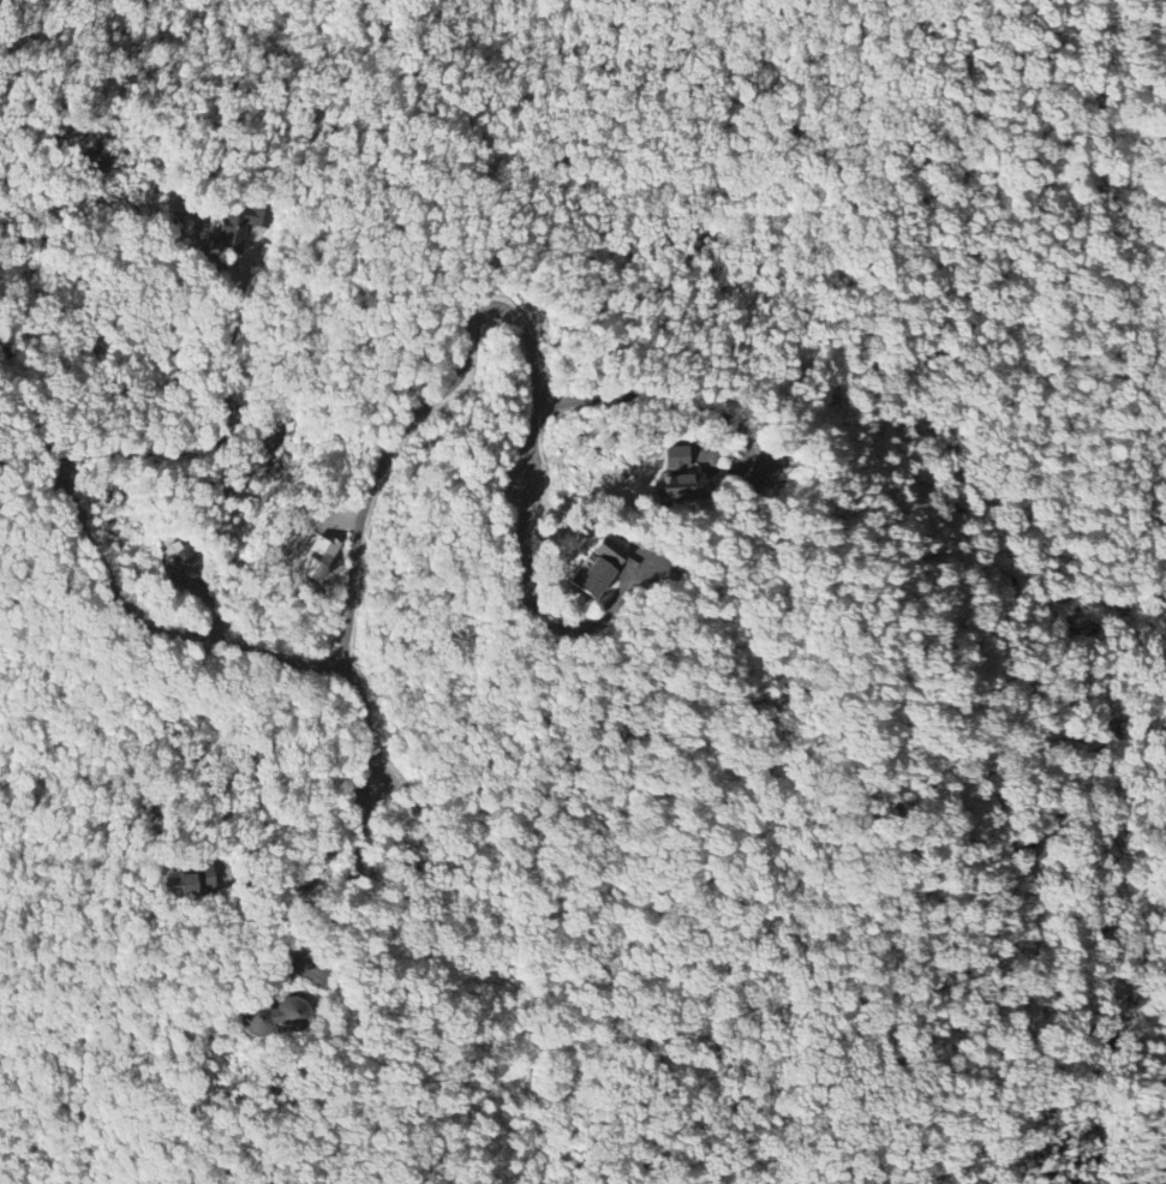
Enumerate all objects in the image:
building: (237, 225)
road: (449, 391)
road: (210, 441)
building: (759, 473)
building: (681, 479)
building: (317, 560)
building: (180, 561)
building: (598, 570)
road: (538, 614)
road: (150, 628)
road: (317, 860)
road: (348, 873)
building: (187, 883)
quarry: (1162, 1182)

